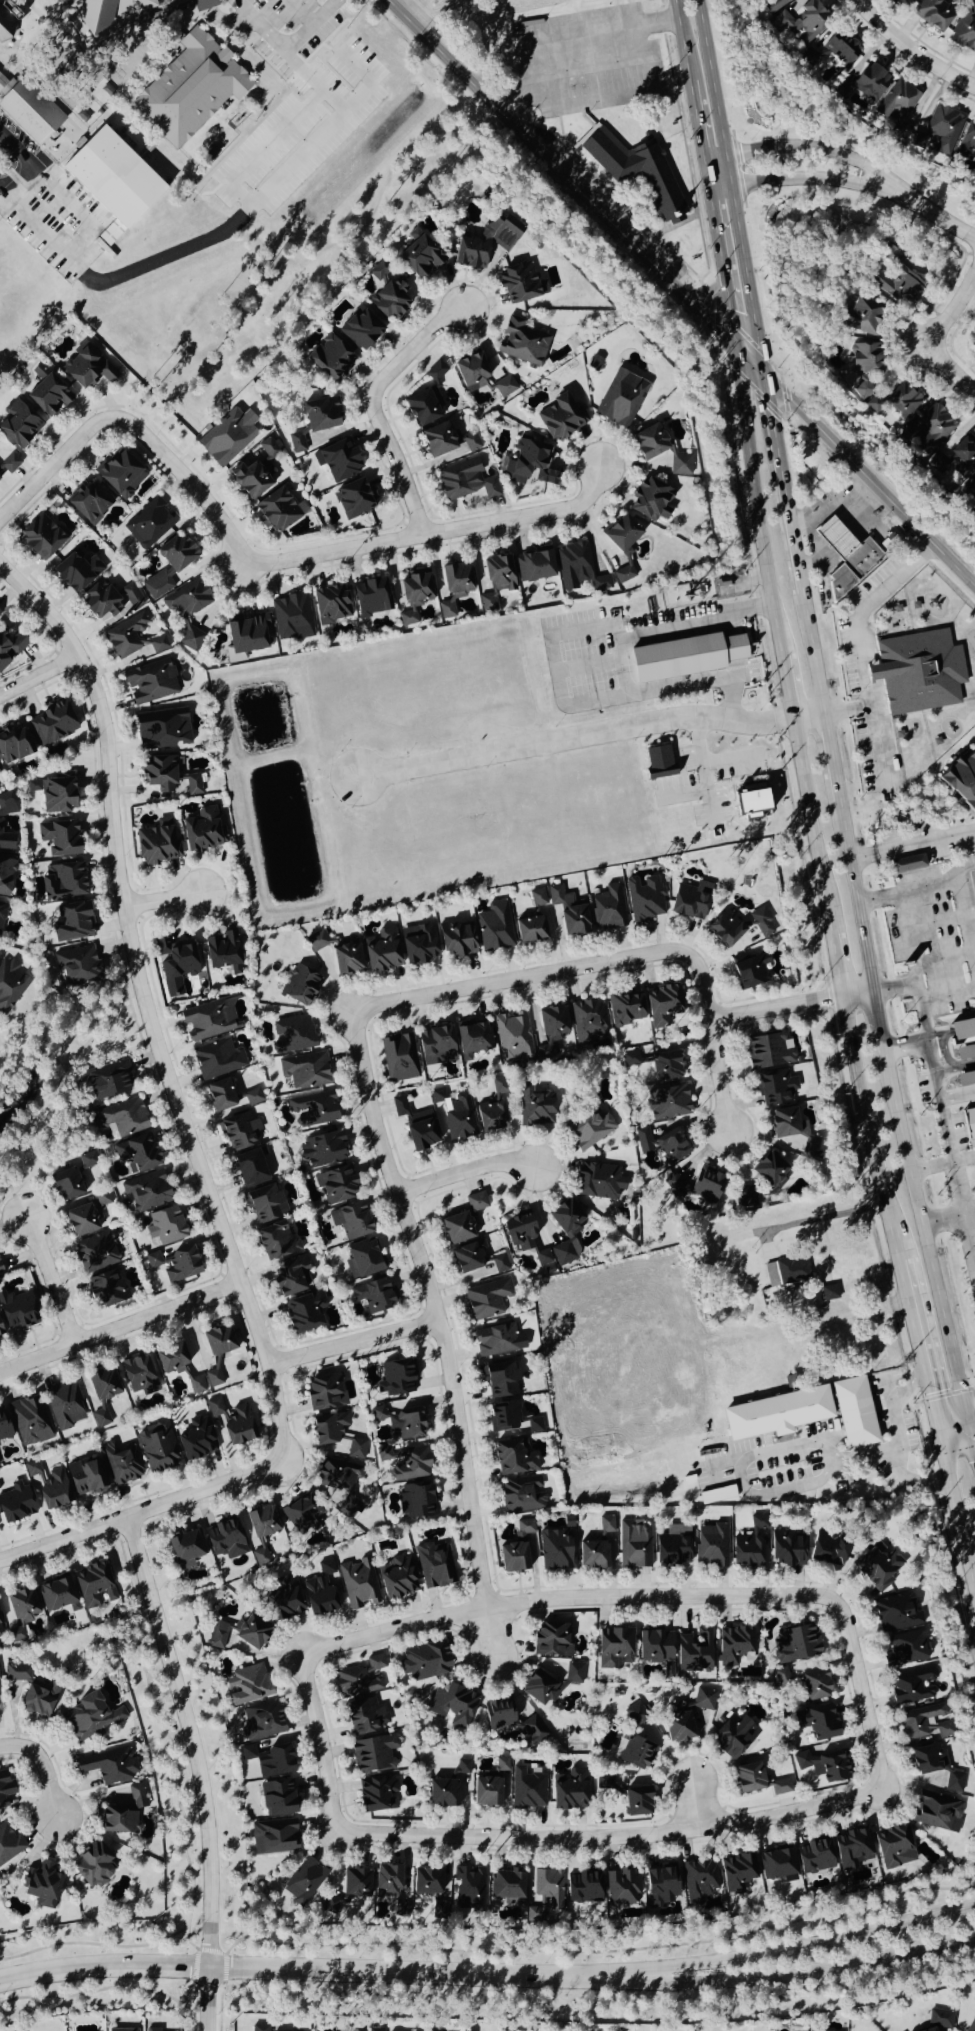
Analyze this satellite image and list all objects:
building: (905, 2)
building: (775, 5)
building: (934, 14)
road: (313, 19)
building: (6, 27)
road: (548, 33)
building: (964, 33)
road: (274, 38)
road: (683, 44)
building: (835, 46)
road: (908, 51)
building: (870, 82)
road: (623, 89)
building: (899, 107)
road: (345, 109)
building: (176, 125)
building: (938, 129)
road: (698, 131)
building: (967, 141)
road: (262, 143)
road: (808, 148)
road: (25, 162)
building: (635, 168)
road: (561, 172)
road: (804, 179)
road: (708, 186)
road: (731, 186)
road: (69, 206)
road: (882, 211)
road: (939, 218)
building: (483, 246)
road: (178, 247)
building: (419, 255)
road: (723, 272)
building: (518, 283)
building: (897, 286)
road: (705, 291)
building: (390, 300)
park: (19, 304)
building: (863, 316)
building: (361, 328)
road: (936, 337)
road: (908, 341)
building: (522, 342)
traffic signals: (736, 345)
building: (974, 347)
building: (329, 358)
building: (865, 358)
road: (750, 359)
building: (87, 367)
building: (471, 371)
building: (436, 372)
traffic signals: (764, 374)
building: (505, 387)
building: (863, 389)
building: (48, 395)
building: (621, 399)
building: (902, 399)
road: (371, 407)
building: (424, 407)
building: (321, 414)
building: (559, 418)
building: (19, 424)
building: (933, 430)
building: (228, 437)
building: (447, 440)
building: (649, 442)
building: (298, 443)
building: (271, 446)
building: (964, 457)
building: (338, 460)
building: (10, 463)
building: (530, 463)
building: (681, 466)
building: (121, 474)
road: (870, 480)
building: (466, 481)
road: (784, 484)
building: (967, 488)
building: (354, 499)
building: (651, 499)
road: (756, 500)
building: (88, 502)
road: (831, 503)
building: (276, 511)
road: (849, 512)
building: (150, 524)
building: (622, 533)
building: (41, 537)
road: (815, 537)
road: (845, 537)
building: (846, 556)
road: (263, 564)
building: (170, 565)
building: (535, 566)
building: (580, 568)
building: (77, 571)
building: (624, 575)
building: (496, 581)
building: (452, 587)
building: (413, 595)
building: (371, 597)
building: (109, 600)
building: (188, 600)
building: (331, 604)
building: (292, 617)
road: (731, 624)
building: (247, 633)
building: (133, 638)
building: (190, 639)
building: (10, 647)
road: (739, 648)
road: (858, 651)
road: (623, 652)
road: (814, 654)
building: (685, 657)
building: (918, 672)
road: (38, 674)
road: (738, 678)
building: (150, 682)
road: (787, 687)
road: (847, 709)
building: (56, 722)
building: (162, 729)
road: (590, 732)
building: (13, 745)
road: (832, 758)
road: (729, 759)
building: (659, 762)
road: (705, 770)
building: (159, 774)
building: (961, 780)
building: (193, 786)
road: (685, 794)
building: (54, 795)
building: (750, 800)
building: (0, 824)
road: (811, 827)
building: (203, 832)
building: (59, 838)
building: (157, 843)
road: (912, 843)
building: (909, 864)
road: (961, 865)
building: (5, 876)
building: (972, 879)
building: (62, 882)
road: (906, 890)
road: (856, 896)
building: (645, 899)
road: (160, 900)
building: (691, 901)
building: (610, 908)
building: (2, 914)
building: (568, 914)
road: (934, 919)
building: (533, 921)
building: (73, 922)
building: (763, 923)
road: (965, 923)
building: (495, 927)
building: (726, 929)
road: (907, 935)
building: (456, 940)
building: (317, 942)
building: (419, 945)
building: (225, 952)
building: (382, 953)
road: (946, 956)
building: (175, 959)
building: (347, 960)
road: (836, 965)
building: (78, 967)
building: (757, 969)
road: (525, 977)
building: (10, 985)
building: (300, 986)
road: (893, 986)
road: (947, 993)
road: (787, 1004)
building: (663, 1005)
road: (144, 1007)
building: (625, 1010)
building: (209, 1021)
building: (589, 1021)
road: (877, 1021)
building: (962, 1030)
building: (552, 1031)
road: (950, 1031)
building: (292, 1035)
building: (473, 1038)
building: (514, 1038)
building: (436, 1047)
road: (905, 1047)
road: (709, 1049)
building: (769, 1052)
building: (965, 1052)
building: (399, 1058)
building: (633, 1059)
road: (947, 1059)
building: (218, 1060)
building: (665, 1067)
road: (962, 1067)
building: (305, 1071)
building: (966, 1079)
building: (107, 1081)
building: (776, 1089)
building: (498, 1090)
building: (220, 1096)
road: (957, 1096)
building: (253, 1097)
road: (861, 1099)
building: (668, 1102)
building: (533, 1107)
building: (314, 1109)
road: (943, 1113)
building: (456, 1114)
building: (492, 1117)
building: (122, 1118)
building: (969, 1121)
building: (416, 1126)
building: (591, 1130)
building: (237, 1132)
building: (790, 1134)
building: (662, 1145)
building: (323, 1150)
building: (138, 1154)
building: (89, 1160)
road: (942, 1164)
building: (250, 1169)
road: (463, 1171)
building: (770, 1171)
building: (599, 1181)
building: (65, 1185)
building: (336, 1186)
building: (698, 1186)
building: (146, 1192)
building: (746, 1199)
building: (476, 1202)
building: (264, 1204)
road: (823, 1215)
building: (80, 1221)
building: (351, 1221)
road: (944, 1221)
building: (166, 1227)
building: (457, 1229)
building: (566, 1230)
building: (519, 1232)
road: (891, 1232)
building: (276, 1242)
road: (974, 1246)
building: (95, 1252)
building: (543, 1258)
road: (929, 1258)
building: (466, 1259)
building: (362, 1260)
building: (500, 1264)
building: (175, 1265)
building: (793, 1271)
building: (0, 1273)
building: (291, 1277)
road: (48, 1280)
building: (106, 1289)
building: (827, 1293)
building: (376, 1296)
building: (487, 1299)
building: (16, 1311)
building: (304, 1313)
road: (119, 1327)
road: (434, 1330)
building: (0, 1333)
building: (499, 1341)
building: (218, 1342)
road: (350, 1343)
road: (920, 1353)
building: (172, 1359)
building: (138, 1375)
building: (399, 1377)
building: (214, 1379)
building: (502, 1381)
building: (103, 1385)
building: (197, 1386)
building: (325, 1391)
traffic signals: (929, 1392)
building: (65, 1405)
road: (968, 1408)
building: (854, 1413)
road: (948, 1413)
building: (378, 1414)
building: (776, 1415)
building: (503, 1416)
building: (101, 1419)
building: (30, 1422)
building: (232, 1423)
building: (407, 1425)
building: (535, 1426)
building: (328, 1429)
road: (899, 1438)
building: (196, 1440)
road: (958, 1442)
building: (158, 1448)
building: (357, 1449)
road: (763, 1450)
building: (514, 1458)
traffic signals: (974, 1460)
building: (121, 1464)
building: (405, 1464)
building: (33, 1469)
building: (85, 1477)
building: (338, 1483)
building: (54, 1491)
building: (522, 1495)
building: (414, 1501)
building: (15, 1503)
road: (141, 1512)
road: (958, 1520)
building: (606, 1527)
building: (259, 1531)
building: (225, 1540)
building: (634, 1545)
building: (749, 1545)
building: (186, 1546)
building: (673, 1546)
building: (712, 1546)
building: (828, 1548)
building: (517, 1549)
building: (555, 1549)
building: (787, 1549)
building: (592, 1555)
building: (434, 1565)
building: (877, 1565)
building: (397, 1578)
building: (93, 1585)
building: (358, 1586)
building: (320, 1590)
building: (57, 1594)
road: (564, 1600)
building: (283, 1603)
building: (20, 1611)
building: (898, 1613)
building: (0, 1633)
building: (238, 1633)
building: (551, 1640)
building: (796, 1644)
building: (734, 1645)
building: (655, 1646)
building: (615, 1647)
building: (906, 1649)
building: (695, 1651)
building: (426, 1661)
building: (782, 1678)
building: (550, 1683)
building: (248, 1685)
building: (815, 1685)
building: (913, 1686)
building: (34, 1692)
road: (862, 1699)
building: (454, 1705)
building: (498, 1713)
building: (636, 1715)
building: (90, 1717)
building: (365, 1717)
building: (690, 1719)
building: (262, 1721)
building: (822, 1723)
building: (926, 1723)
building: (532, 1731)
building: (734, 1736)
road: (321, 1743)
building: (374, 1754)
building: (638, 1754)
building: (927, 1759)
building: (269, 1760)
building: (502, 1765)
building: (823, 1765)
building: (109, 1766)
road: (42, 1768)
road: (197, 1769)
building: (749, 1778)
building: (603, 1782)
building: (955, 1782)
building: (780, 1787)
building: (5, 1788)
building: (448, 1788)
building: (528, 1789)
building: (569, 1790)
building: (486, 1792)
building: (377, 1793)
building: (277, 1798)
building: (636, 1801)
road: (696, 1806)
building: (938, 1812)
building: (123, 1813)
road: (609, 1836)
building: (274, 1837)
building: (9, 1845)
building: (894, 1847)
building: (853, 1848)
building: (815, 1856)
building: (778, 1864)
building: (92, 1865)
building: (737, 1872)
building: (387, 1879)
building: (700, 1879)
building: (304, 1881)
building: (427, 1881)
building: (356, 1883)
building: (42, 1884)
building: (661, 1885)
building: (507, 1887)
building: (584, 1888)
building: (623, 1888)
building: (469, 1889)
building: (548, 1890)
road: (796, 1943)
road: (307, 1967)
road: (796, 1969)
building: (940, 2020)
building: (971, 2025)
building: (260, 2028)
building: (376, 2029)
building: (121, 2030)
building: (151, 2030)
building: (282, 2030)

